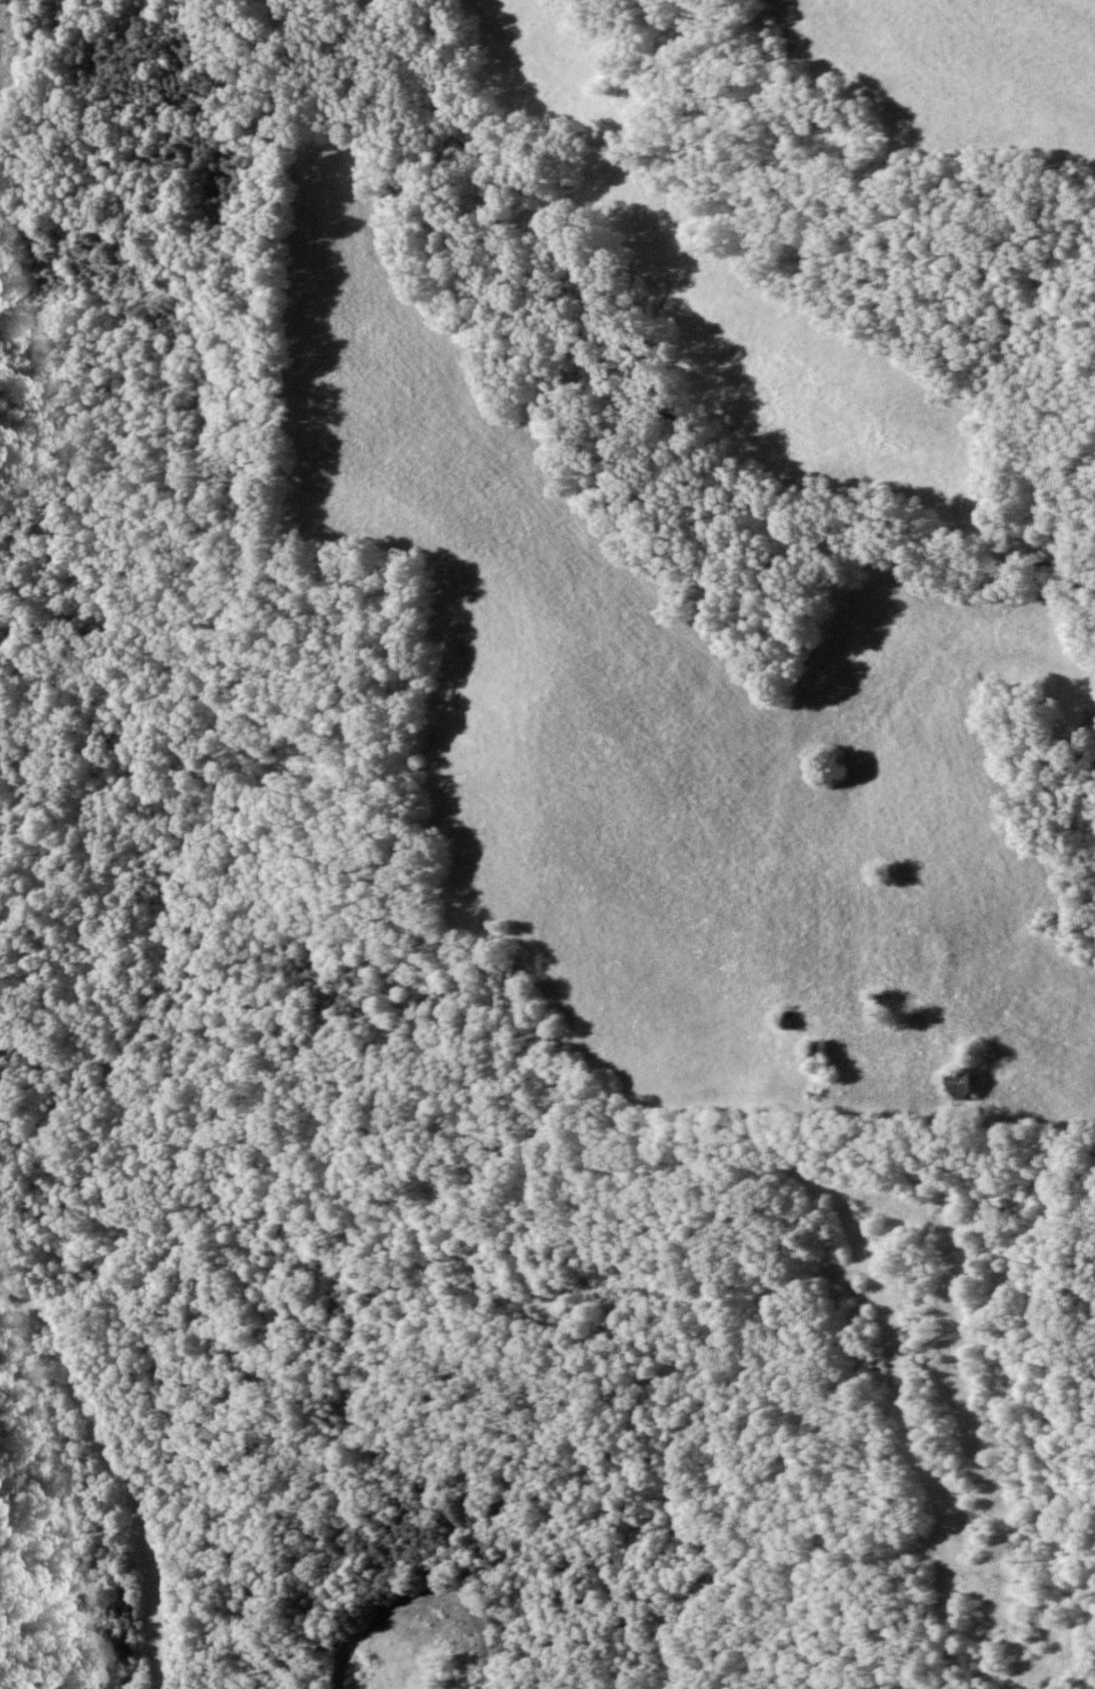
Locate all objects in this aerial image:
building: (962, 1086)

